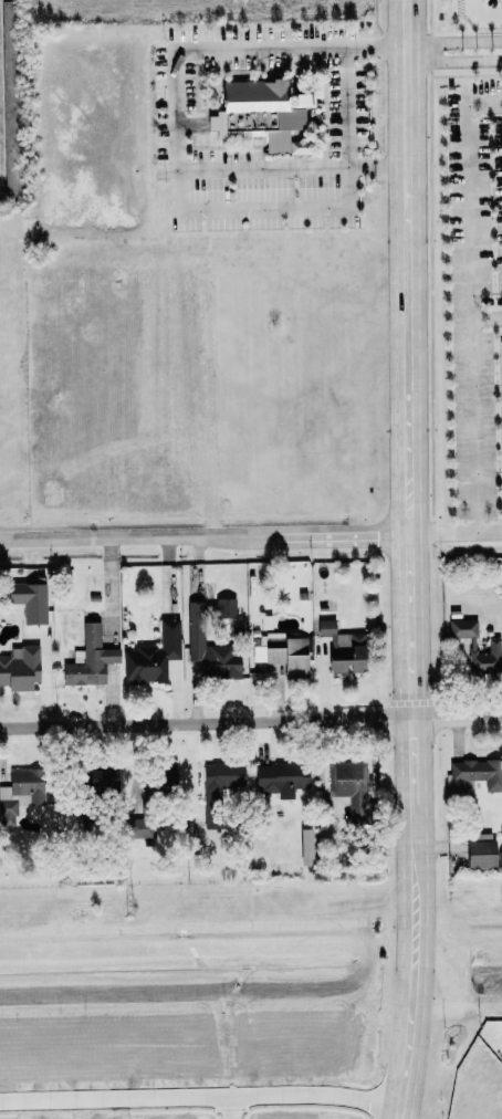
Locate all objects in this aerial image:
road: (477, 19)
road: (453, 35)
road: (453, 55)
building: (10, 97)
road: (348, 106)
road: (175, 108)
road: (464, 240)
road: (484, 312)
road: (411, 320)
road: (471, 471)
road: (457, 525)
road: (206, 538)
building: (31, 600)
building: (227, 607)
building: (463, 627)
building: (210, 647)
building: (345, 648)
building: (284, 652)
building: (154, 656)
building: (488, 657)
building: (91, 658)
building: (20, 667)
road: (411, 679)
road: (250, 719)
road: (411, 761)
building: (477, 774)
building: (282, 775)
building: (160, 782)
building: (351, 784)
building: (220, 787)
building: (22, 791)
building: (139, 827)
building: (482, 849)
road: (412, 885)
power tower: (129, 908)
road: (407, 1043)
road: (201, 1101)
road: (236, 1110)

